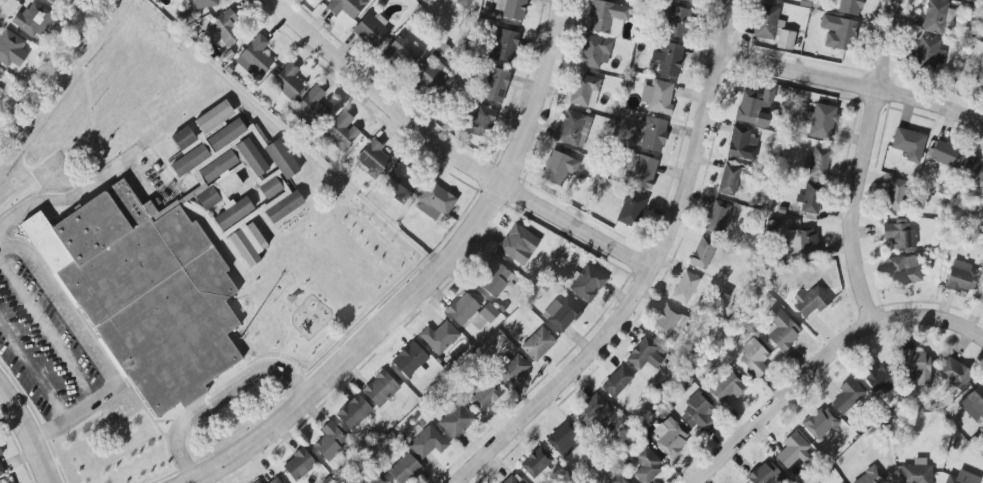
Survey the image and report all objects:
building: (52, 0)
building: (781, 0)
building: (686, 1)
building: (464, 3)
building: (204, 4)
building: (346, 7)
building: (849, 7)
building: (511, 9)
building: (934, 17)
building: (607, 18)
building: (34, 20)
building: (677, 22)
building: (766, 22)
building: (226, 28)
building: (371, 30)
building: (837, 32)
building: (785, 40)
building: (505, 45)
building: (11, 49)
building: (401, 52)
building: (594, 52)
building: (929, 53)
building: (257, 54)
building: (668, 59)
building: (0, 74)
building: (430, 76)
building: (980, 77)
building: (287, 82)
road: (851, 83)
building: (494, 85)
building: (0, 89)
building: (583, 89)
building: (657, 97)
building: (754, 107)
building: (311, 109)
building: (214, 117)
building: (479, 121)
building: (822, 122)
building: (573, 128)
building: (341, 132)
building: (652, 134)
building: (225, 135)
building: (183, 138)
building: (739, 142)
building: (908, 144)
road: (448, 153)
building: (944, 154)
building: (251, 157)
building: (372, 158)
building: (281, 159)
building: (189, 161)
road: (861, 161)
building: (818, 163)
building: (558, 168)
building: (973, 170)
building: (641, 172)
building: (728, 180)
building: (398, 182)
building: (270, 185)
building: (222, 190)
building: (896, 195)
road: (67, 199)
building: (810, 199)
building: (434, 202)
building: (631, 209)
building: (717, 217)
building: (240, 229)
building: (899, 235)
building: (802, 243)
building: (518, 244)
building: (702, 253)
building: (903, 270)
road: (648, 273)
building: (961, 277)
road: (428, 278)
building: (494, 279)
building: (587, 283)
building: (685, 288)
building: (142, 294)
building: (981, 299)
building: (811, 301)
road: (63, 307)
building: (462, 310)
building: (488, 313)
building: (561, 314)
road: (929, 316)
building: (667, 321)
building: (780, 328)
road: (47, 332)
building: (439, 337)
building: (537, 344)
building: (644, 354)
building: (753, 358)
building: (410, 361)
building: (915, 367)
building: (511, 370)
road: (32, 371)
building: (954, 374)
building: (878, 378)
building: (616, 382)
building: (726, 388)
building: (380, 389)
building: (485, 396)
building: (846, 396)
road: (221, 399)
road: (780, 399)
building: (975, 400)
building: (697, 411)
building: (353, 412)
building: (593, 412)
road: (74, 413)
building: (455, 421)
building: (820, 423)
road: (27, 435)
building: (564, 440)
building: (329, 441)
building: (672, 441)
building: (427, 442)
building: (793, 450)
building: (0, 454)
building: (536, 462)
building: (298, 464)
building: (645, 464)
building: (404, 469)
building: (1, 472)
building: (916, 472)
building: (764, 473)
building: (869, 477)
building: (961, 478)
building: (375, 480)
building: (510, 480)
building: (618, 480)
building: (275, 481)
building: (256, 482)

